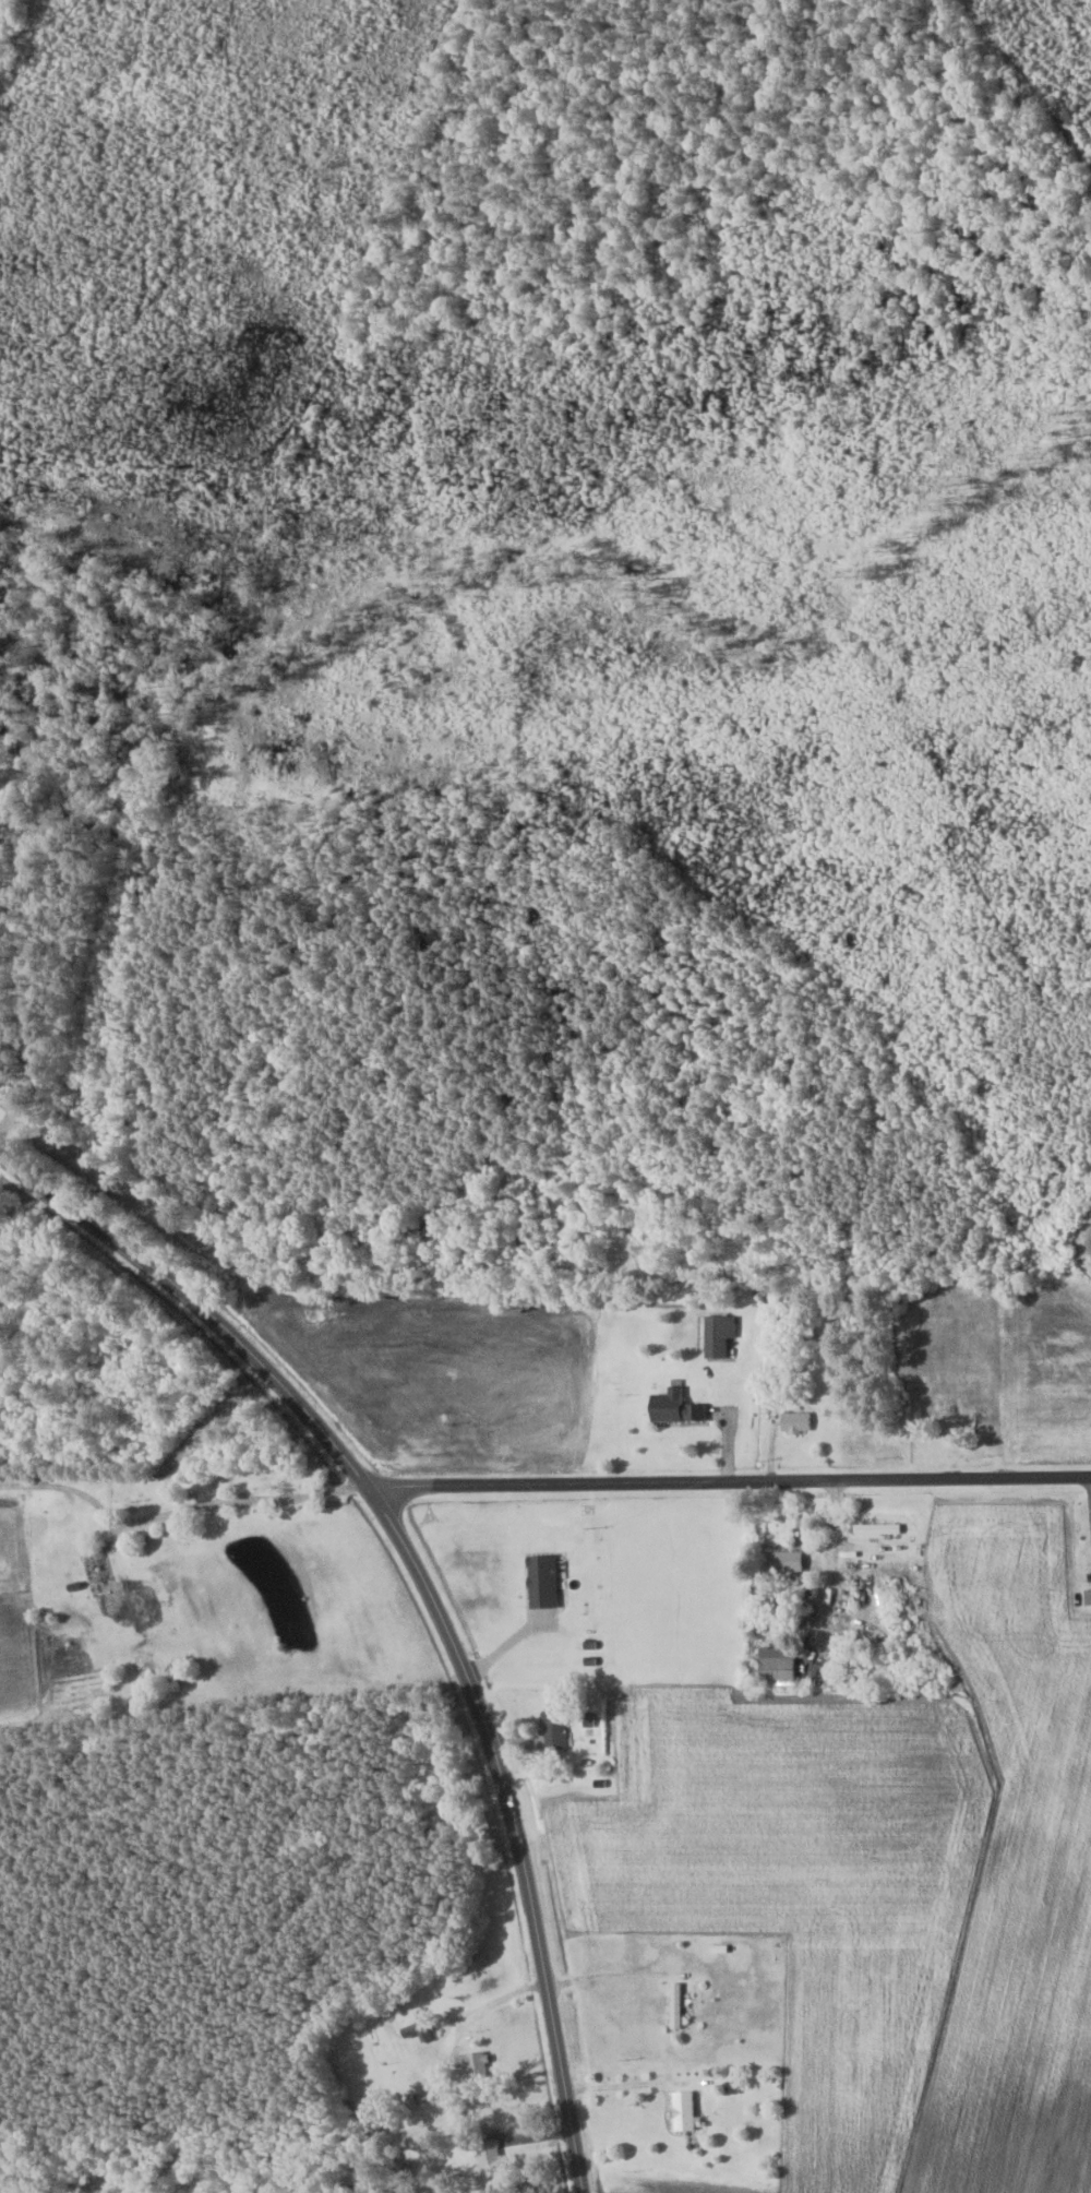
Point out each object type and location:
building: (717, 1335)
building: (671, 1407)
building: (793, 1421)
road: (728, 1479)
building: (876, 1528)
building: (779, 1561)
building: (539, 1582)
road: (431, 1593)
building: (1086, 1597)
building: (774, 1665)
building: (552, 1729)
building: (470, 2063)
building: (681, 2110)
building: (485, 2156)

